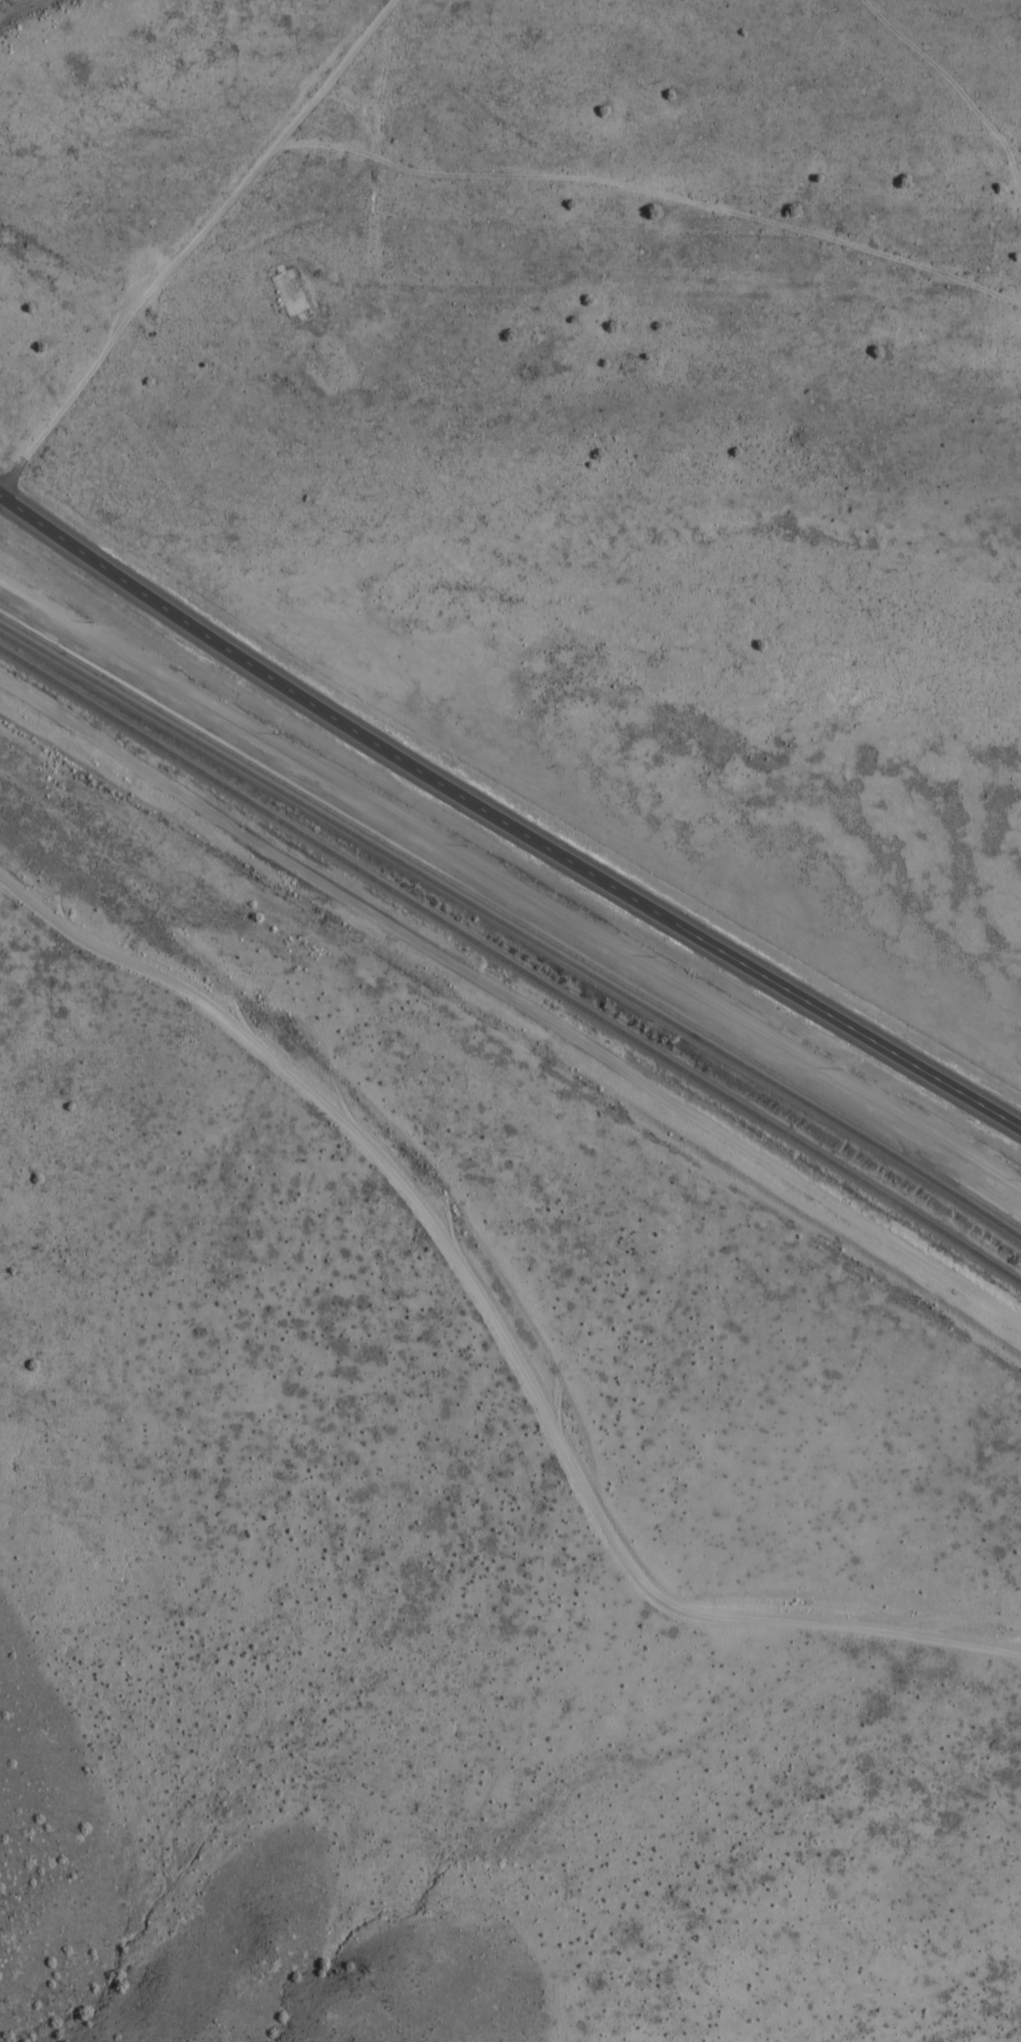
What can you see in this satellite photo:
road: (449, 37)
road: (212, 260)
road: (510, 819)
railway: (512, 909)
railway: (512, 921)
railway: (511, 956)
road: (502, 1325)

